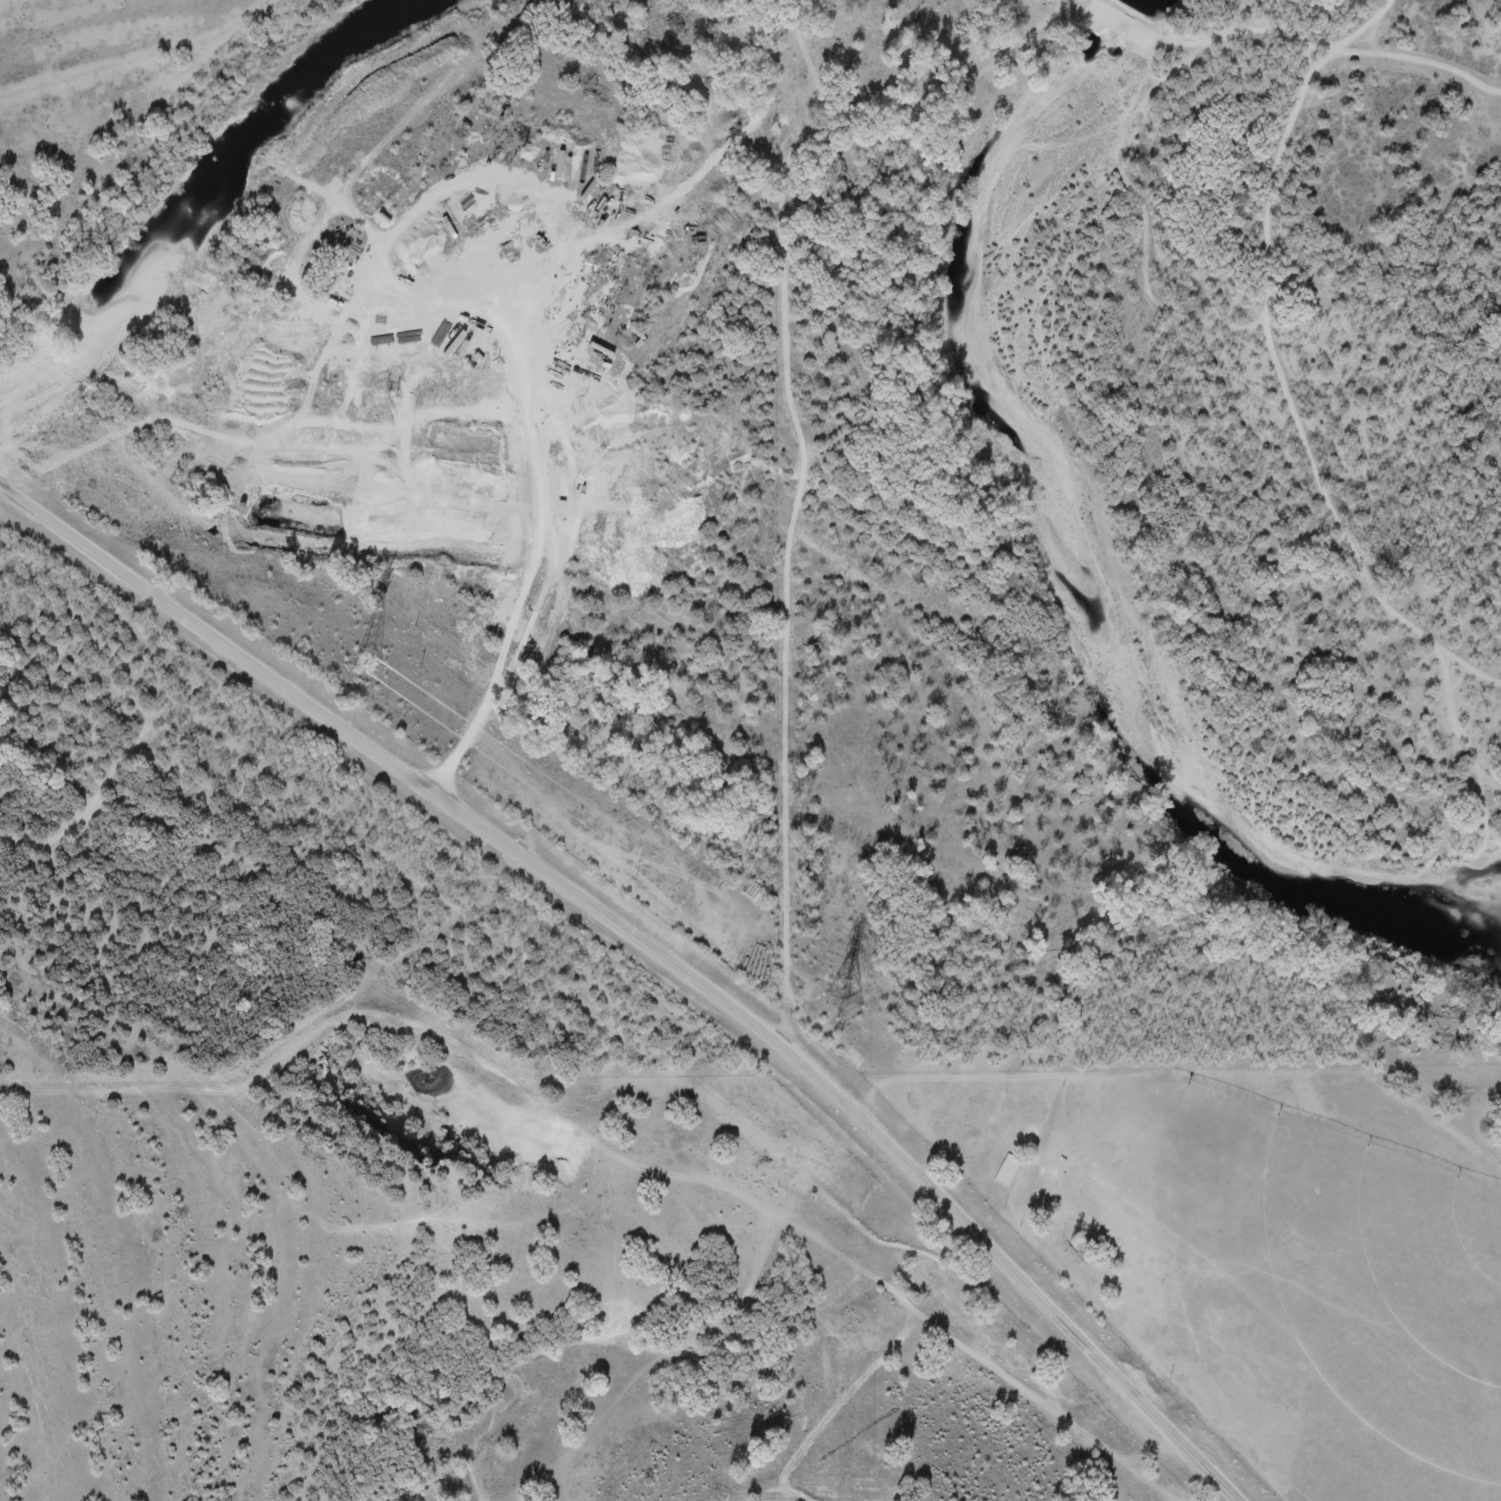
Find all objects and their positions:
power tower: (357, 662)
road: (657, 951)
power tower: (828, 997)

